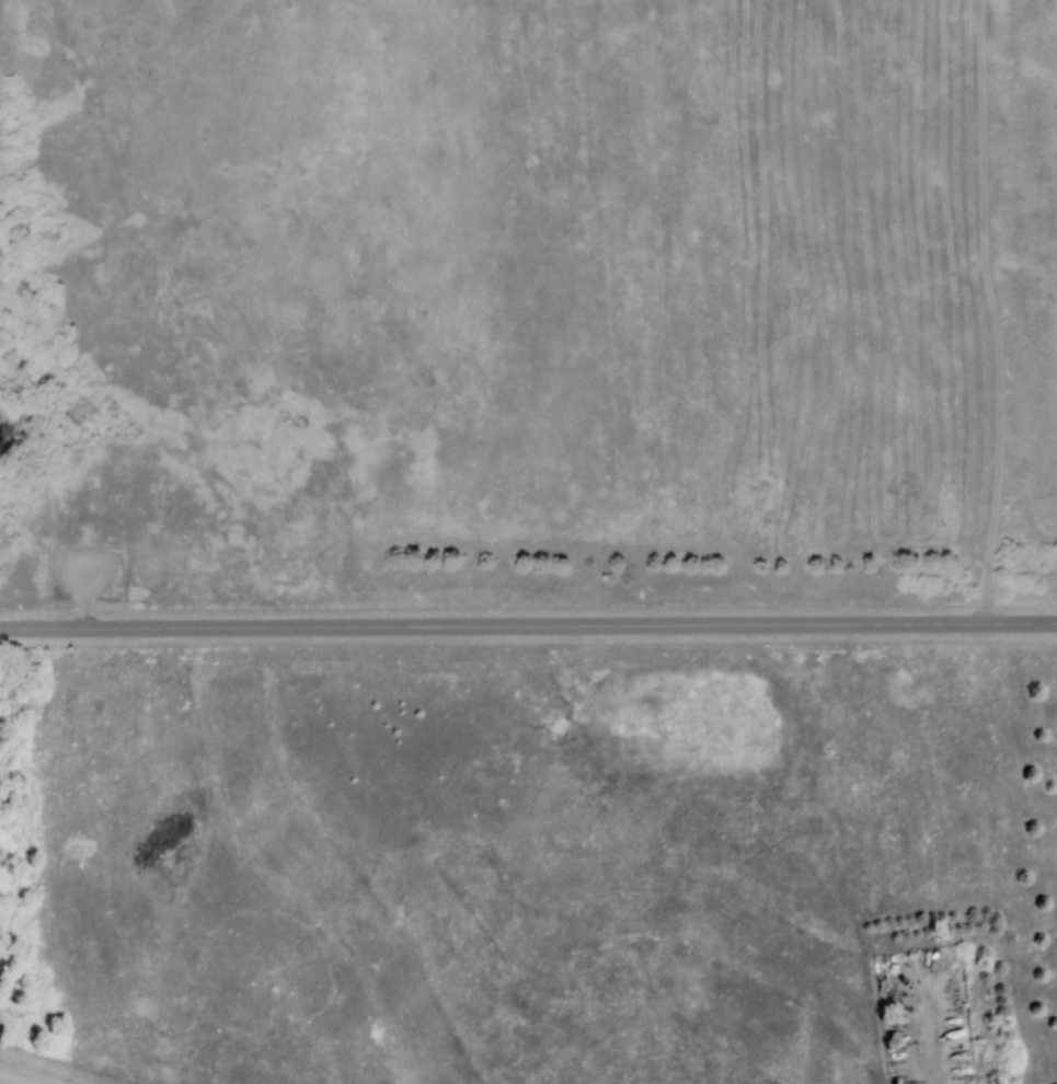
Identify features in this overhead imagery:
road: (528, 625)
park: (529, 854)
road: (922, 1033)
road: (18, 1077)

